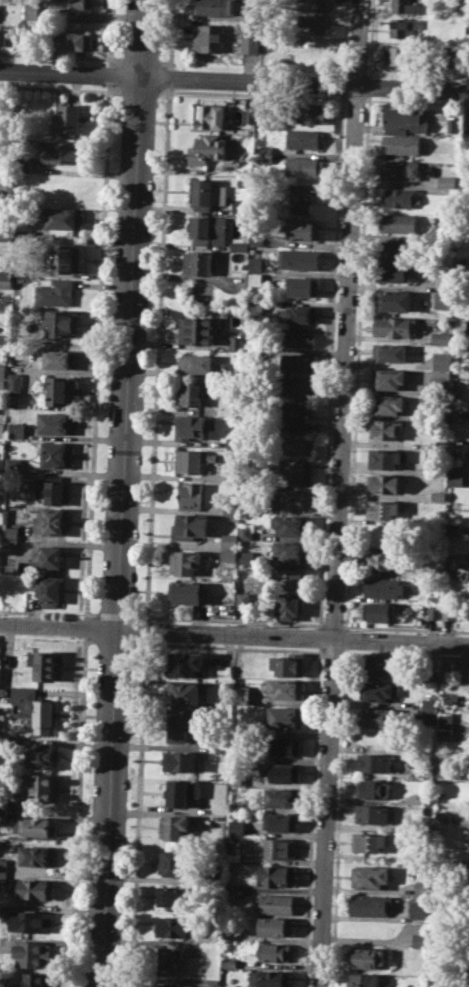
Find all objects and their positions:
building: (313, 4)
building: (72, 5)
building: (216, 6)
building: (403, 6)
building: (32, 8)
building: (314, 22)
building: (404, 26)
road: (171, 34)
building: (208, 37)
road: (343, 37)
road: (370, 38)
building: (72, 39)
building: (250, 41)
road: (60, 55)
building: (400, 55)
road: (139, 58)
road: (164, 61)
road: (169, 77)
road: (234, 79)
road: (341, 83)
road: (368, 85)
road: (60, 88)
road: (140, 91)
road: (253, 94)
road: (356, 99)
road: (417, 101)
building: (251, 114)
building: (308, 114)
building: (209, 116)
building: (70, 117)
building: (404, 119)
building: (305, 138)
building: (401, 143)
building: (207, 149)
building: (63, 153)
building: (264, 153)
building: (25, 165)
building: (304, 165)
building: (401, 168)
building: (447, 181)
building: (6, 186)
building: (207, 193)
building: (401, 197)
building: (299, 199)
building: (63, 218)
building: (398, 222)
building: (207, 229)
building: (304, 229)
building: (5, 235)
building: (258, 240)
building: (397, 249)
building: (66, 258)
building: (299, 258)
building: (199, 262)
building: (256, 264)
building: (22, 267)
building: (393, 271)
building: (5, 279)
building: (256, 279)
building: (444, 282)
building: (303, 285)
building: (55, 292)
building: (396, 299)
building: (443, 299)
building: (300, 312)
building: (63, 323)
building: (395, 326)
building: (198, 328)
building: (299, 336)
building: (1, 337)
building: (441, 337)
building: (237, 342)
building: (389, 351)
road: (157, 353)
building: (57, 359)
road: (329, 360)
building: (441, 360)
road: (357, 361)
building: (298, 362)
building: (197, 363)
building: (2, 369)
building: (390, 379)
building: (15, 382)
building: (440, 382)
building: (2, 383)
building: (297, 386)
building: (60, 390)
building: (193, 393)
building: (388, 404)
building: (297, 416)
building: (55, 423)
building: (189, 426)
building: (1, 429)
building: (386, 429)
building: (15, 430)
building: (297, 442)
building: (440, 446)
building: (1, 450)
building: (54, 454)
building: (454, 455)
building: (386, 458)
building: (192, 460)
building: (297, 471)
building: (233, 473)
building: (456, 476)
building: (387, 483)
building: (53, 489)
road: (121, 493)
road: (339, 493)
building: (190, 495)
building: (438, 495)
building: (291, 499)
building: (0, 503)
building: (232, 505)
building: (382, 508)
building: (51, 521)
building: (191, 525)
building: (290, 525)
building: (0, 527)
building: (453, 528)
building: (10, 530)
building: (245, 531)
building: (10, 546)
building: (229, 547)
building: (289, 551)
building: (247, 558)
building: (46, 559)
building: (383, 560)
building: (184, 562)
building: (462, 573)
building: (448, 574)
building: (290, 579)
building: (384, 587)
building: (49, 590)
building: (187, 591)
building: (433, 598)
building: (243, 599)
building: (286, 605)
road: (47, 611)
building: (378, 611)
building: (450, 611)
building: (434, 612)
road: (114, 614)
road: (229, 620)
road: (333, 624)
road: (405, 628)
road: (145, 629)
road: (234, 633)
road: (318, 636)
road: (345, 638)
building: (187, 664)
building: (288, 664)
building: (46, 665)
building: (378, 666)
building: (431, 675)
building: (285, 688)
building: (3, 691)
building: (377, 691)
building: (183, 694)
building: (240, 694)
building: (34, 709)
building: (429, 709)
building: (377, 716)
building: (285, 717)
building: (445, 719)
building: (179, 726)
building: (238, 732)
building: (444, 735)
building: (283, 746)
building: (41, 754)
building: (179, 761)
building: (373, 762)
building: (441, 770)
building: (284, 773)
building: (236, 781)
building: (42, 787)
building: (371, 788)
building: (177, 791)
building: (281, 797)
building: (427, 800)
building: (1, 805)
building: (234, 805)
road: (137, 812)
building: (371, 813)
road: (310, 816)
building: (441, 816)
building: (2, 817)
road: (337, 817)
building: (280, 821)
building: (35, 827)
building: (173, 827)
building: (235, 827)
building: (368, 841)
building: (279, 847)
building: (36, 855)
building: (232, 856)
building: (175, 862)
building: (212, 869)
building: (2, 870)
building: (275, 875)
building: (368, 876)
building: (231, 885)
building: (35, 888)
building: (420, 888)
building: (173, 895)
building: (229, 897)
building: (274, 903)
building: (369, 903)
building: (418, 908)
building: (30, 920)
building: (172, 925)
building: (274, 926)
road: (432, 929)
building: (228, 933)
building: (418, 939)
building: (0, 942)
building: (271, 952)
building: (30, 953)
building: (365, 957)
building: (168, 959)
building: (228, 961)
building: (269, 977)
building: (35, 979)
building: (362, 980)
building: (210, 982)
building: (171, 985)

